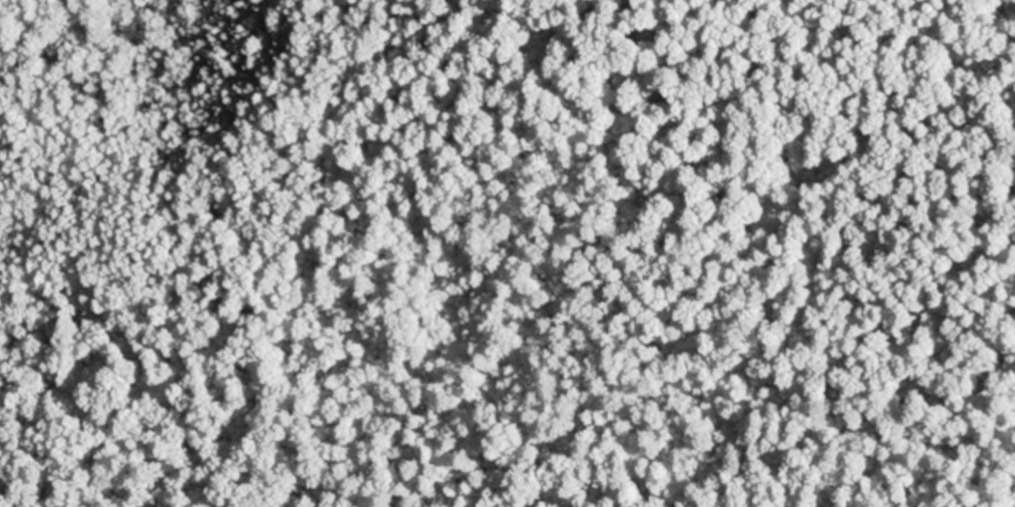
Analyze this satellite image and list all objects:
road: (1008, 500)

